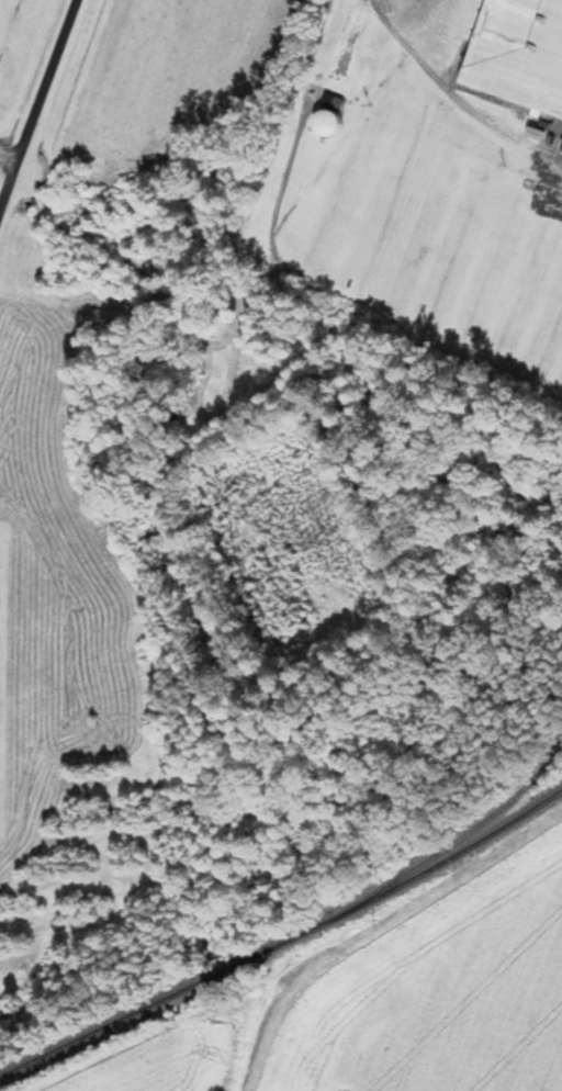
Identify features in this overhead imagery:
building: (521, 54)
building: (329, 123)
railway: (493, 814)
railway: (283, 940)

